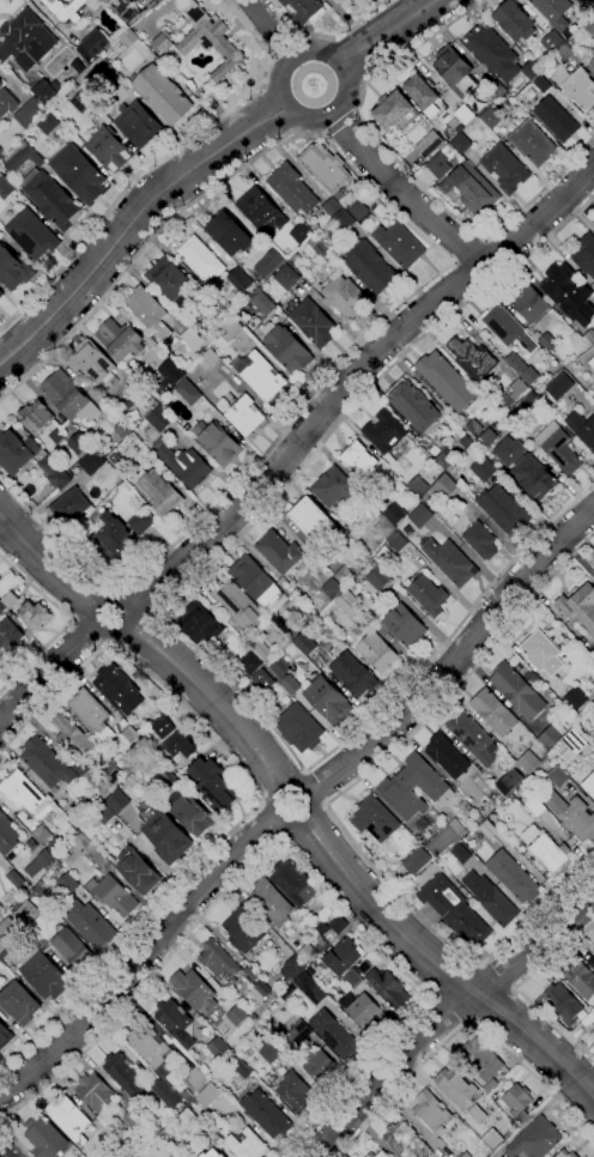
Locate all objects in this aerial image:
building: (337, 0)
building: (340, 0)
building: (582, 0)
building: (586, 0)
building: (66, 10)
building: (304, 10)
building: (129, 11)
building: (553, 12)
building: (515, 22)
building: (589, 26)
road: (269, 29)
road: (387, 32)
building: (26, 37)
building: (102, 37)
building: (129, 37)
road: (326, 37)
building: (211, 41)
building: (550, 41)
building: (163, 42)
building: (572, 42)
road: (279, 44)
building: (492, 52)
building: (565, 52)
building: (29, 61)
building: (78, 65)
building: (592, 65)
building: (453, 67)
building: (531, 71)
building: (543, 84)
building: (44, 87)
building: (577, 87)
building: (497, 89)
building: (162, 93)
building: (423, 93)
building: (483, 99)
building: (6, 101)
building: (83, 102)
building: (395, 111)
building: (30, 113)
building: (463, 114)
building: (491, 117)
road: (305, 119)
building: (557, 119)
building: (48, 122)
road: (341, 123)
building: (138, 125)
building: (434, 141)
building: (531, 143)
building: (460, 144)
building: (109, 149)
building: (22, 157)
building: (414, 158)
road: (158, 162)
building: (437, 165)
building: (505, 168)
building: (327, 170)
building: (429, 170)
road: (408, 171)
building: (79, 172)
building: (4, 188)
building: (473, 188)
building: (292, 189)
road: (405, 193)
building: (51, 199)
building: (332, 207)
building: (261, 210)
building: (358, 210)
building: (344, 220)
building: (593, 223)
road: (134, 228)
building: (301, 234)
building: (32, 235)
building: (230, 236)
building: (399, 244)
building: (319, 247)
road: (468, 249)
building: (586, 254)
building: (201, 259)
building: (269, 262)
building: (370, 267)
building: (13, 268)
road: (445, 268)
building: (286, 277)
building: (169, 279)
building: (240, 279)
building: (1, 293)
building: (569, 293)
building: (345, 296)
building: (261, 299)
building: (529, 304)
building: (213, 305)
building: (148, 311)
building: (313, 322)
building: (232, 328)
building: (507, 328)
building: (589, 337)
building: (193, 339)
building: (121, 340)
building: (547, 340)
building: (287, 349)
building: (472, 358)
building: (208, 359)
building: (91, 362)
building: (592, 363)
building: (526, 372)
building: (261, 375)
road: (354, 376)
building: (169, 377)
building: (447, 381)
building: (559, 386)
building: (517, 389)
building: (187, 390)
building: (69, 396)
building: (412, 405)
building: (526, 407)
building: (35, 416)
building: (246, 416)
building: (160, 418)
building: (474, 428)
building: (582, 429)
building: (123, 431)
building: (384, 431)
building: (56, 436)
building: (487, 436)
building: (78, 442)
building: (218, 443)
building: (558, 447)
building: (445, 456)
building: (29, 459)
building: (358, 460)
building: (90, 462)
building: (186, 466)
building: (484, 468)
building: (527, 470)
road: (293, 477)
building: (417, 486)
building: (444, 486)
building: (333, 487)
building: (160, 493)
building: (68, 507)
building: (503, 510)
building: (395, 514)
building: (420, 516)
building: (313, 519)
building: (141, 522)
building: (384, 528)
building: (114, 540)
building: (481, 540)
building: (398, 541)
building: (279, 552)
road: (46, 562)
building: (454, 564)
building: (593, 567)
building: (593, 570)
building: (377, 575)
building: (344, 576)
building: (257, 583)
building: (332, 588)
building: (429, 595)
building: (237, 602)
building: (350, 604)
building: (580, 606)
building: (25, 610)
building: (304, 614)
road: (71, 622)
building: (200, 624)
building: (405, 626)
road: (454, 630)
building: (10, 634)
road: (108, 636)
building: (304, 641)
building: (261, 650)
building: (543, 652)
building: (377, 653)
road: (457, 654)
building: (1, 656)
building: (250, 662)
building: (0, 665)
building: (273, 667)
road: (48, 672)
building: (353, 674)
building: (263, 679)
building: (291, 684)
building: (119, 687)
building: (517, 691)
building: (578, 698)
building: (328, 701)
road: (211, 702)
building: (593, 703)
building: (174, 707)
building: (90, 710)
building: (493, 713)
building: (165, 728)
building: (299, 728)
building: (131, 734)
building: (552, 734)
building: (73, 738)
building: (473, 738)
building: (577, 740)
building: (593, 741)
building: (181, 744)
building: (447, 757)
building: (529, 762)
building: (47, 763)
building: (114, 773)
building: (87, 774)
building: (558, 776)
building: (174, 777)
building: (509, 781)
building: (213, 783)
building: (589, 786)
building: (413, 787)
building: (24, 793)
building: (116, 801)
road: (257, 801)
road: (328, 801)
building: (483, 807)
building: (535, 808)
building: (192, 812)
building: (104, 813)
building: (78, 816)
building: (572, 816)
building: (93, 819)
building: (375, 819)
road: (286, 826)
building: (487, 826)
building: (43, 834)
building: (7, 836)
building: (166, 837)
building: (445, 837)
building: (471, 842)
building: (79, 843)
building: (55, 844)
road: (292, 849)
building: (461, 853)
building: (550, 853)
building: (67, 855)
building: (416, 861)
building: (40, 862)
building: (138, 871)
building: (513, 877)
building: (16, 879)
building: (68, 879)
building: (295, 883)
building: (114, 895)
building: (490, 898)
building: (272, 902)
building: (25, 904)
building: (450, 905)
road: (384, 915)
building: (291, 925)
building: (339, 925)
building: (8, 927)
building: (95, 927)
building: (323, 928)
building: (243, 929)
road: (533, 944)
building: (4, 947)
building: (74, 950)
building: (593, 952)
building: (308, 953)
building: (343, 957)
road: (140, 962)
building: (219, 962)
building: (364, 967)
building: (289, 970)
building: (311, 970)
building: (43, 973)
building: (250, 974)
building: (352, 979)
building: (581, 981)
building: (388, 987)
road: (513, 988)
building: (194, 989)
building: (313, 991)
building: (257, 993)
building: (19, 1002)
building: (563, 1002)
building: (366, 1013)
building: (237, 1014)
building: (254, 1017)
building: (176, 1022)
building: (588, 1022)
building: (225, 1024)
road: (463, 1024)
building: (593, 1032)
building: (5, 1035)
building: (338, 1037)
building: (265, 1040)
road: (535, 1047)
building: (219, 1048)
building: (152, 1049)
building: (271, 1052)
building: (311, 1054)
building: (195, 1055)
building: (481, 1058)
building: (183, 1061)
building: (240, 1067)
building: (123, 1073)
road: (392, 1076)
building: (196, 1078)
building: (480, 1083)
building: (492, 1085)
building: (456, 1086)
building: (295, 1091)
building: (96, 1094)
building: (166, 1095)
building: (208, 1095)
building: (517, 1098)
building: (431, 1111)
building: (267, 1114)
building: (68, 1115)
building: (134, 1117)
building: (522, 1119)
building: (186, 1121)
building: (44, 1137)
building: (495, 1139)
building: (537, 1139)
road: (16, 1140)
building: (406, 1141)
building: (243, 1143)
building: (122, 1150)
road: (2, 1153)
building: (212, 1153)
building: (565, 1153)
building: (371, 1155)
building: (382, 1155)
building: (467, 1155)
building: (183, 1156)
building: (366, 1156)

